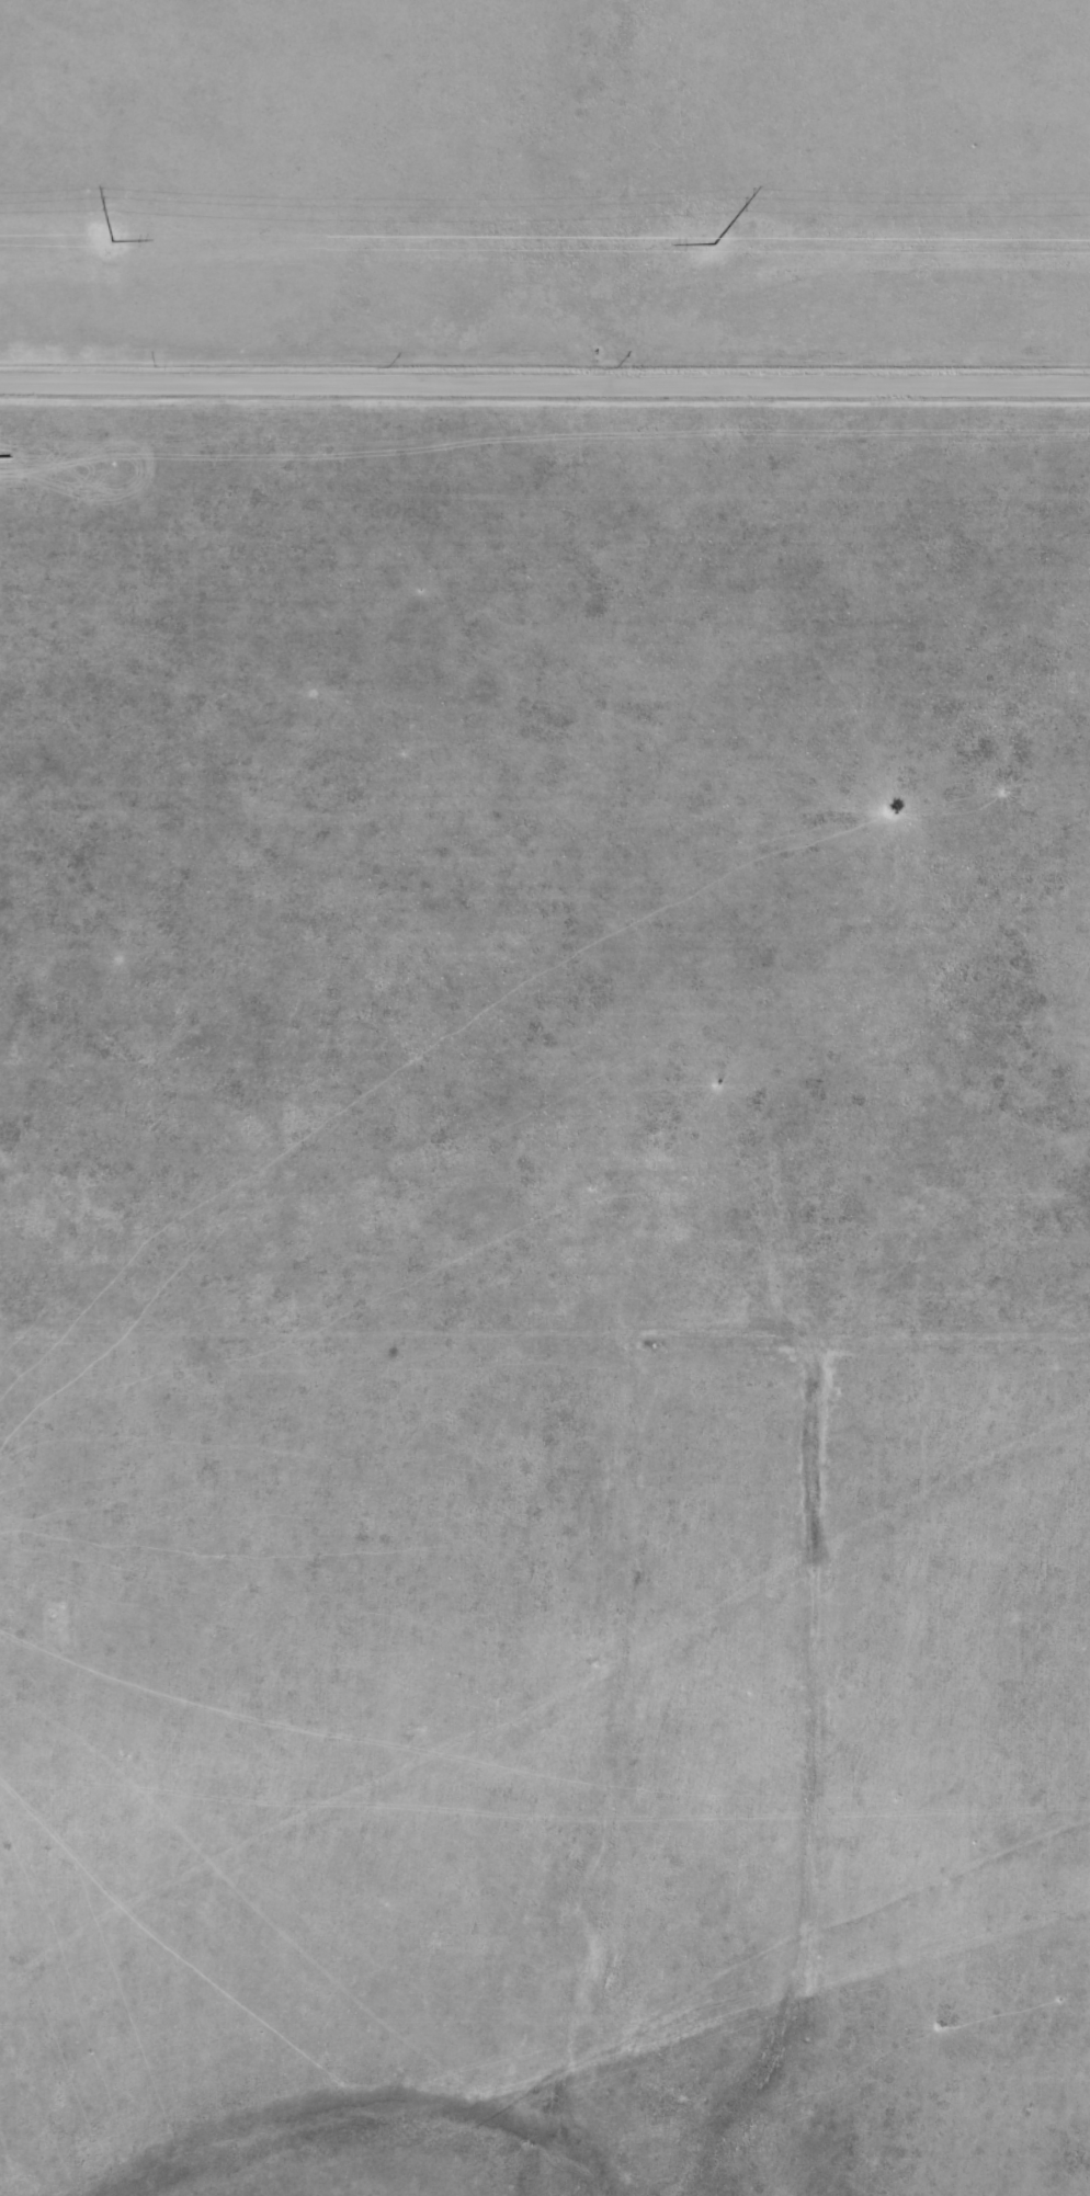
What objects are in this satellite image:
road: (545, 386)

